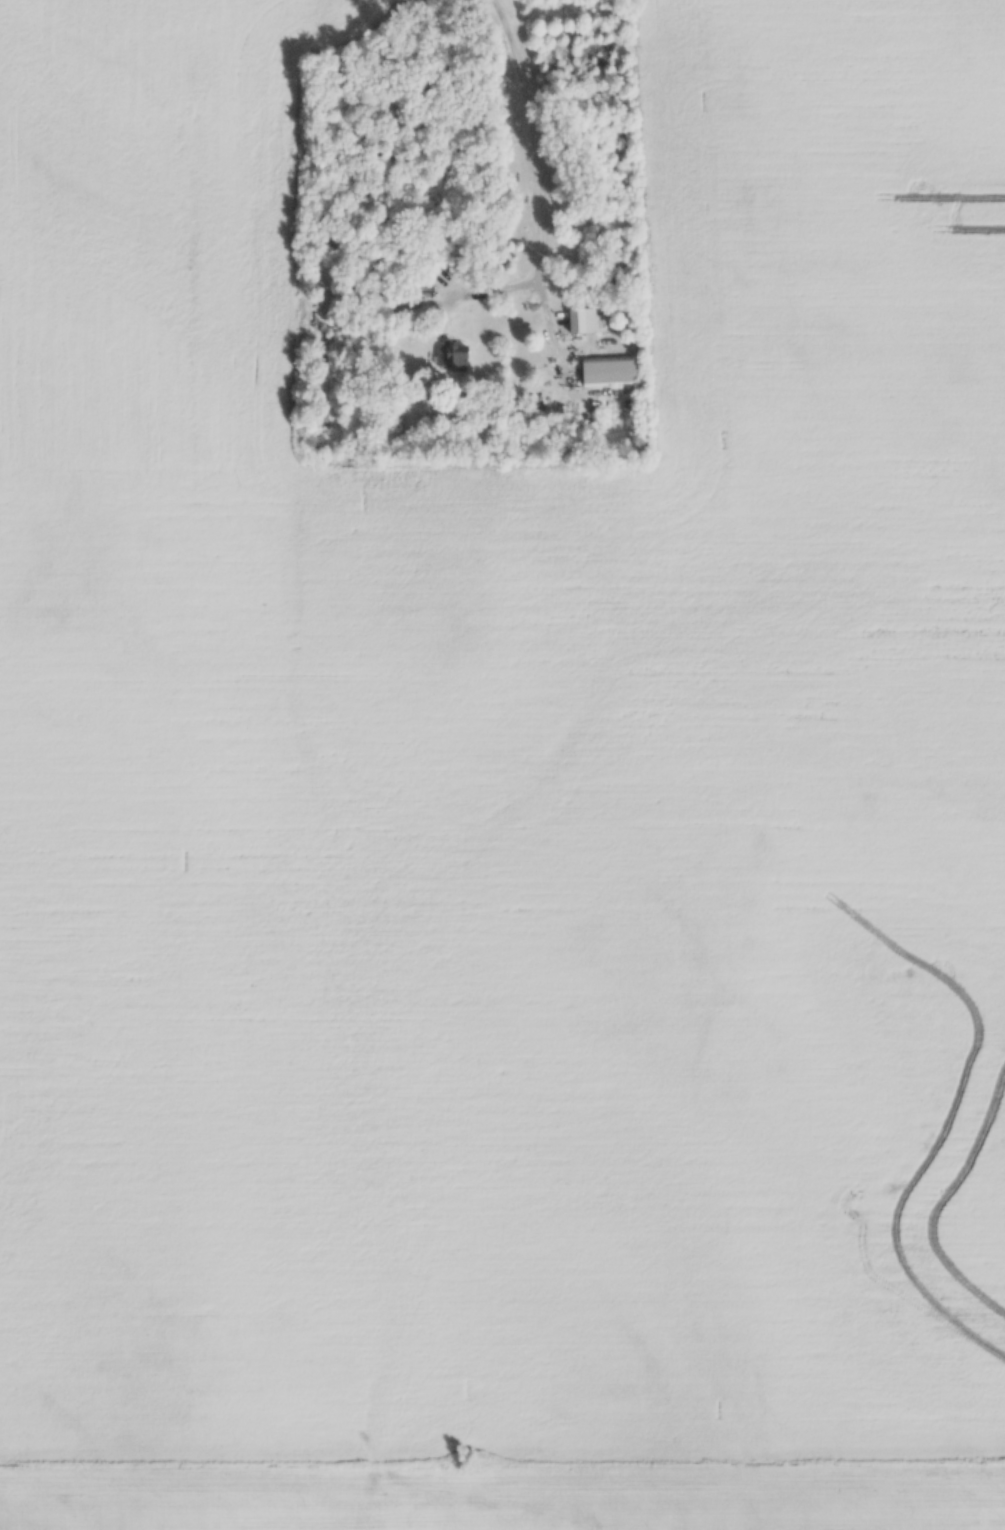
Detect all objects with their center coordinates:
road: (540, 174)
building: (574, 321)
building: (451, 353)
building: (609, 370)

